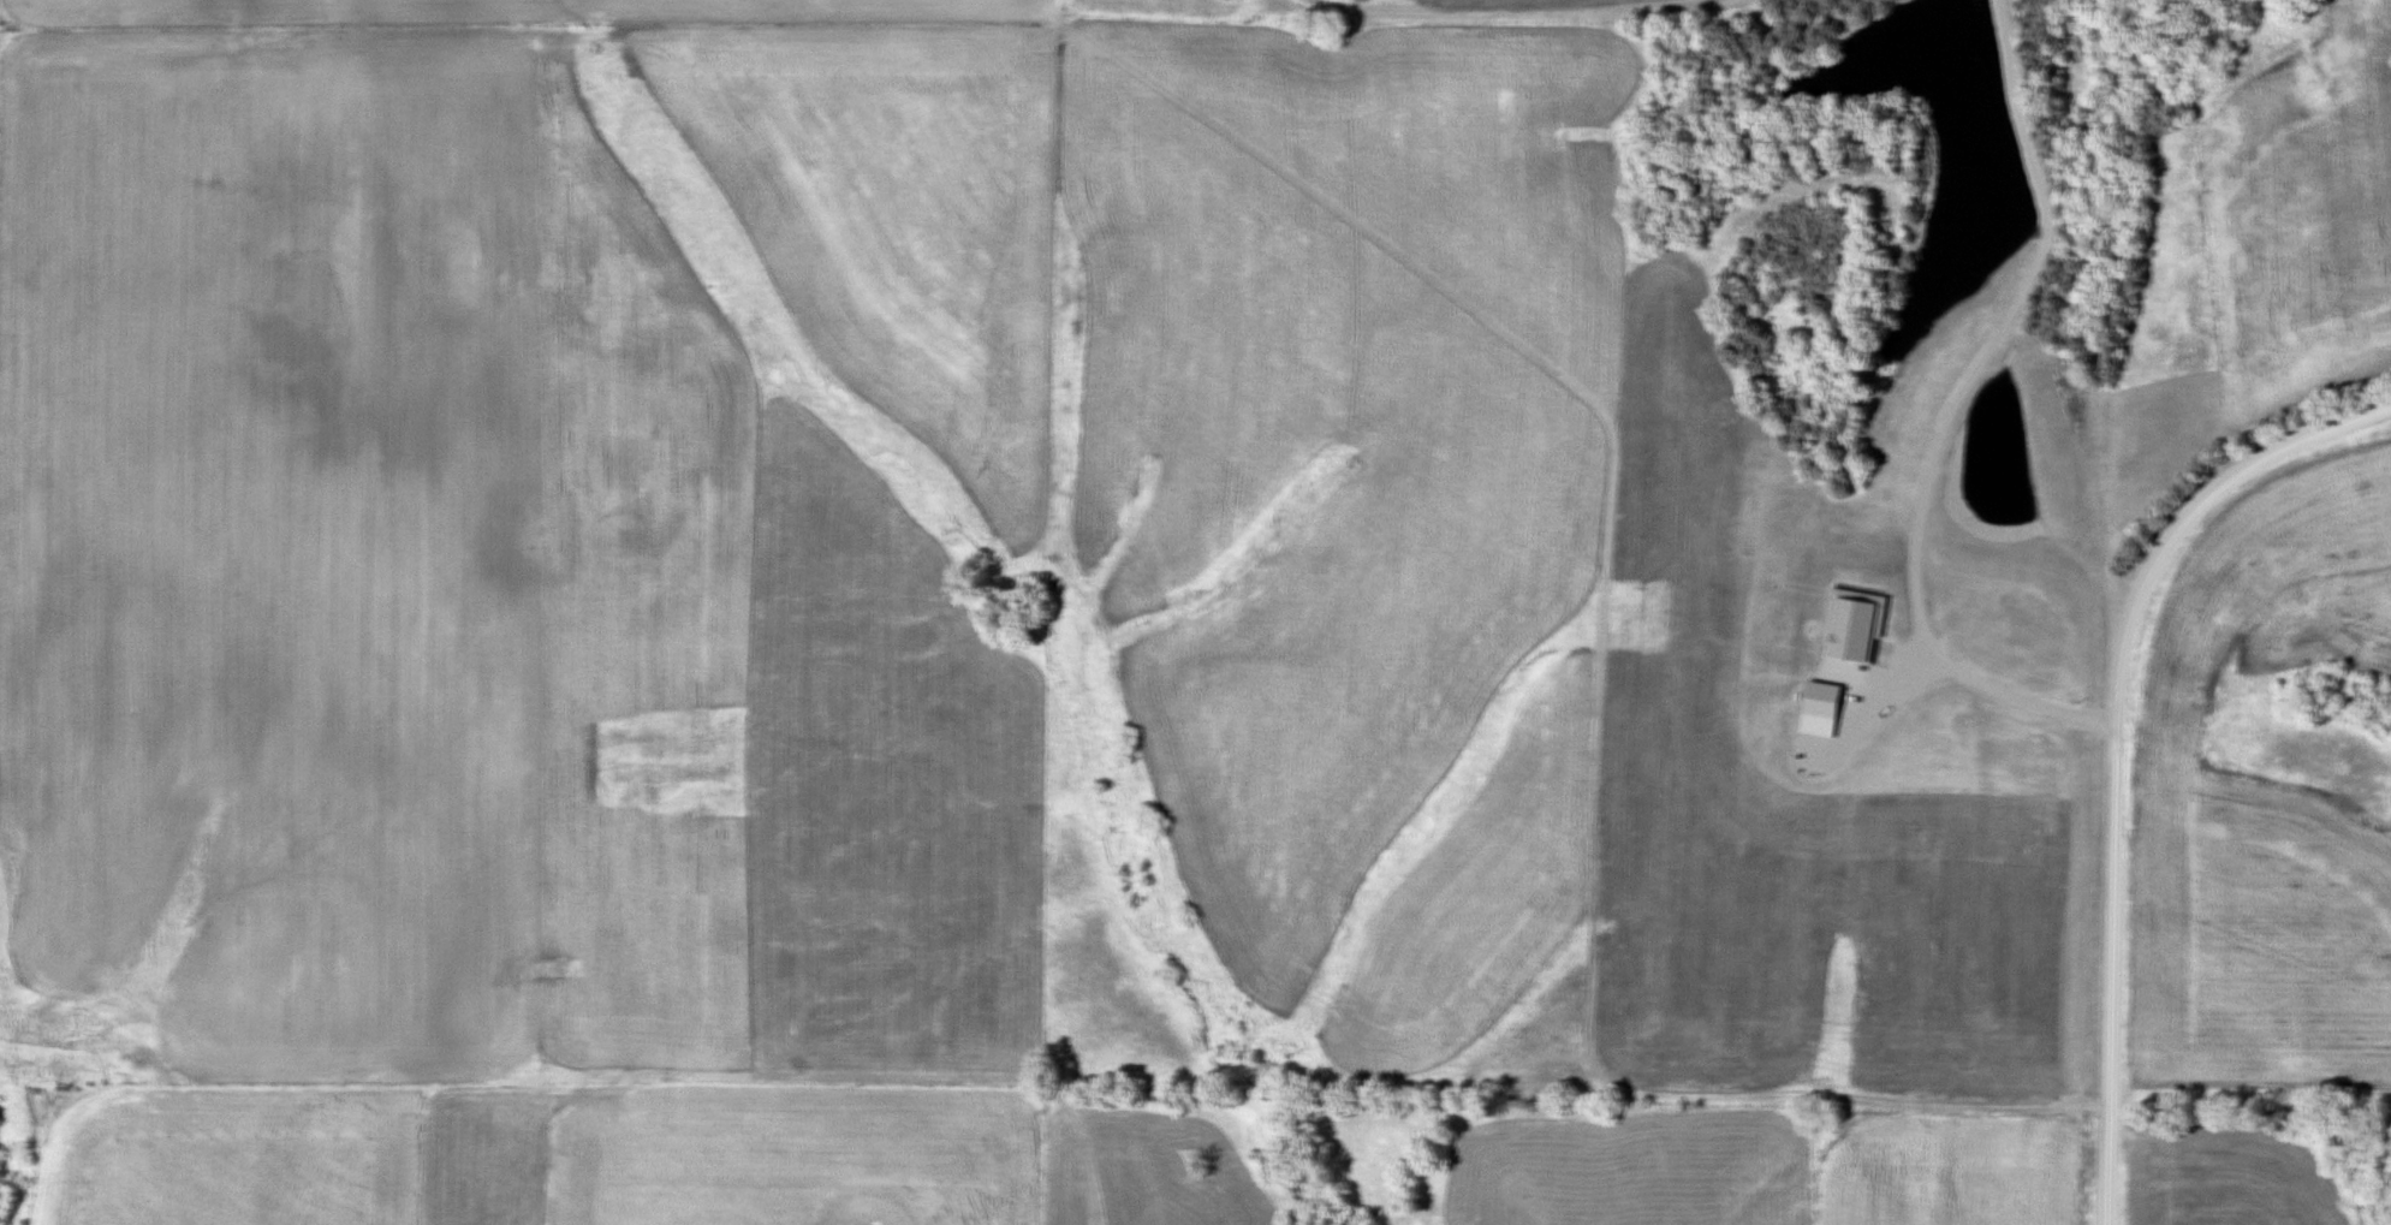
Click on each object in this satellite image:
building: (1879, 601)
road: (2134, 773)

